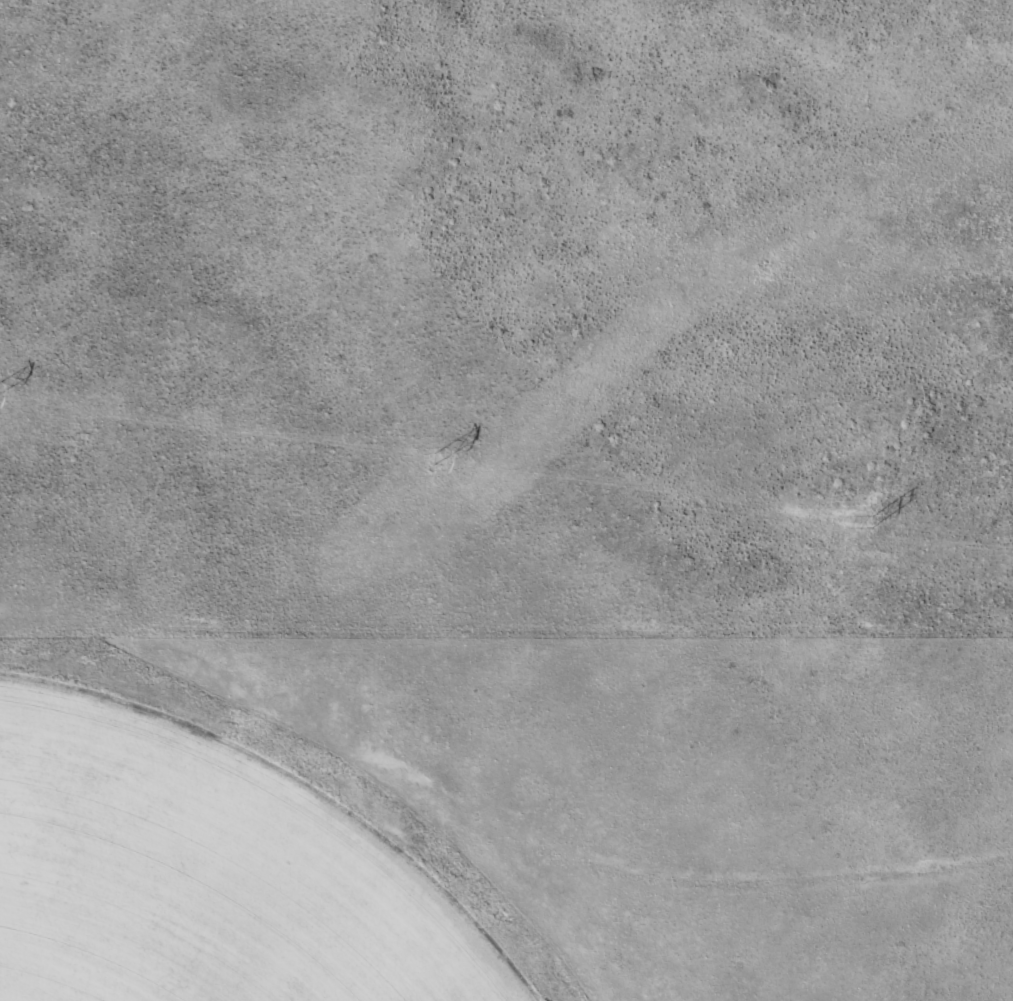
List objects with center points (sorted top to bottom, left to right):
power tower: (432, 460)
power tower: (872, 525)

